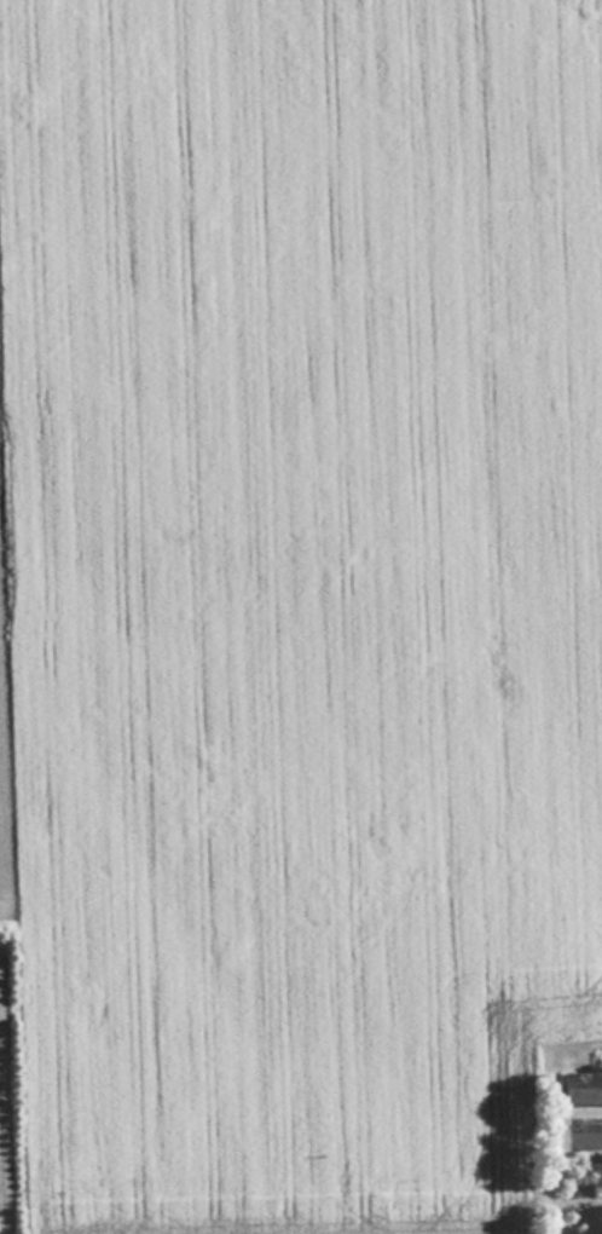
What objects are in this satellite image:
building: (574, 1085)

